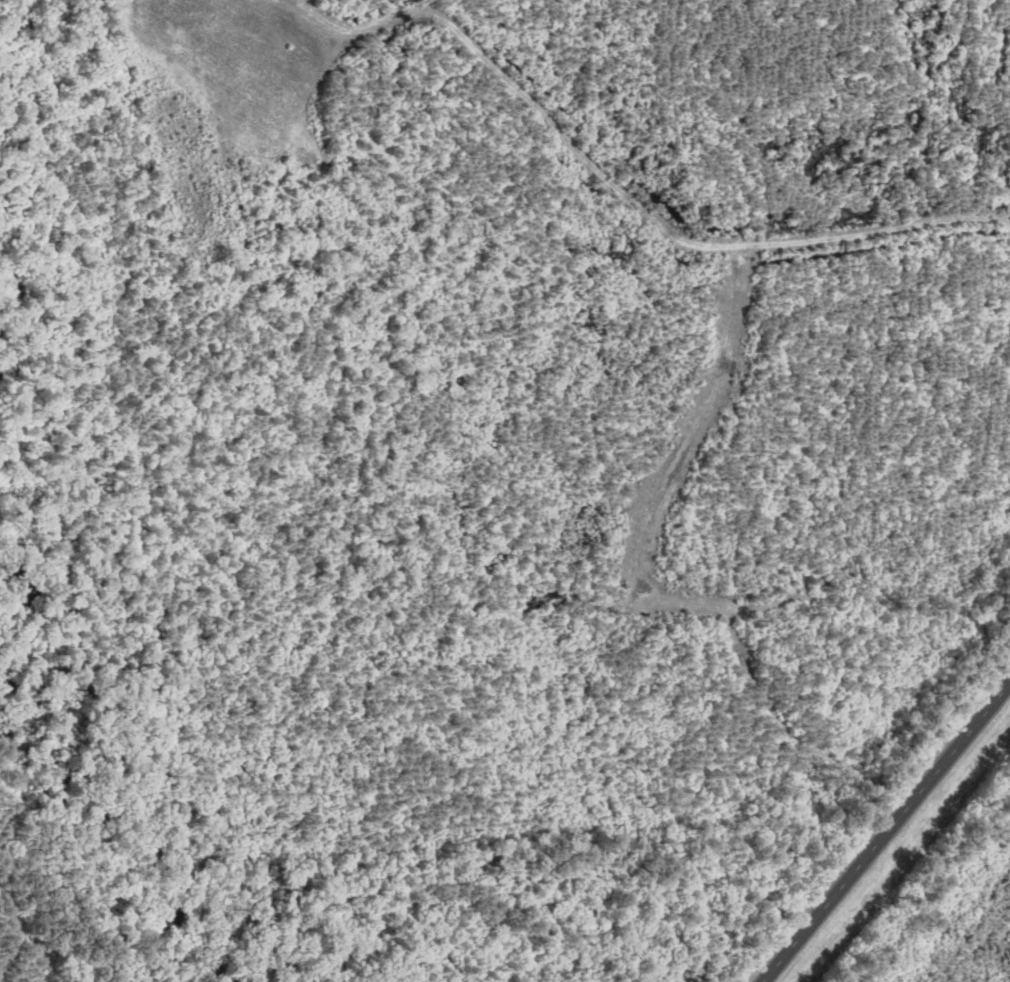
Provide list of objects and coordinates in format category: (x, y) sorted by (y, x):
road: (885, 832)

